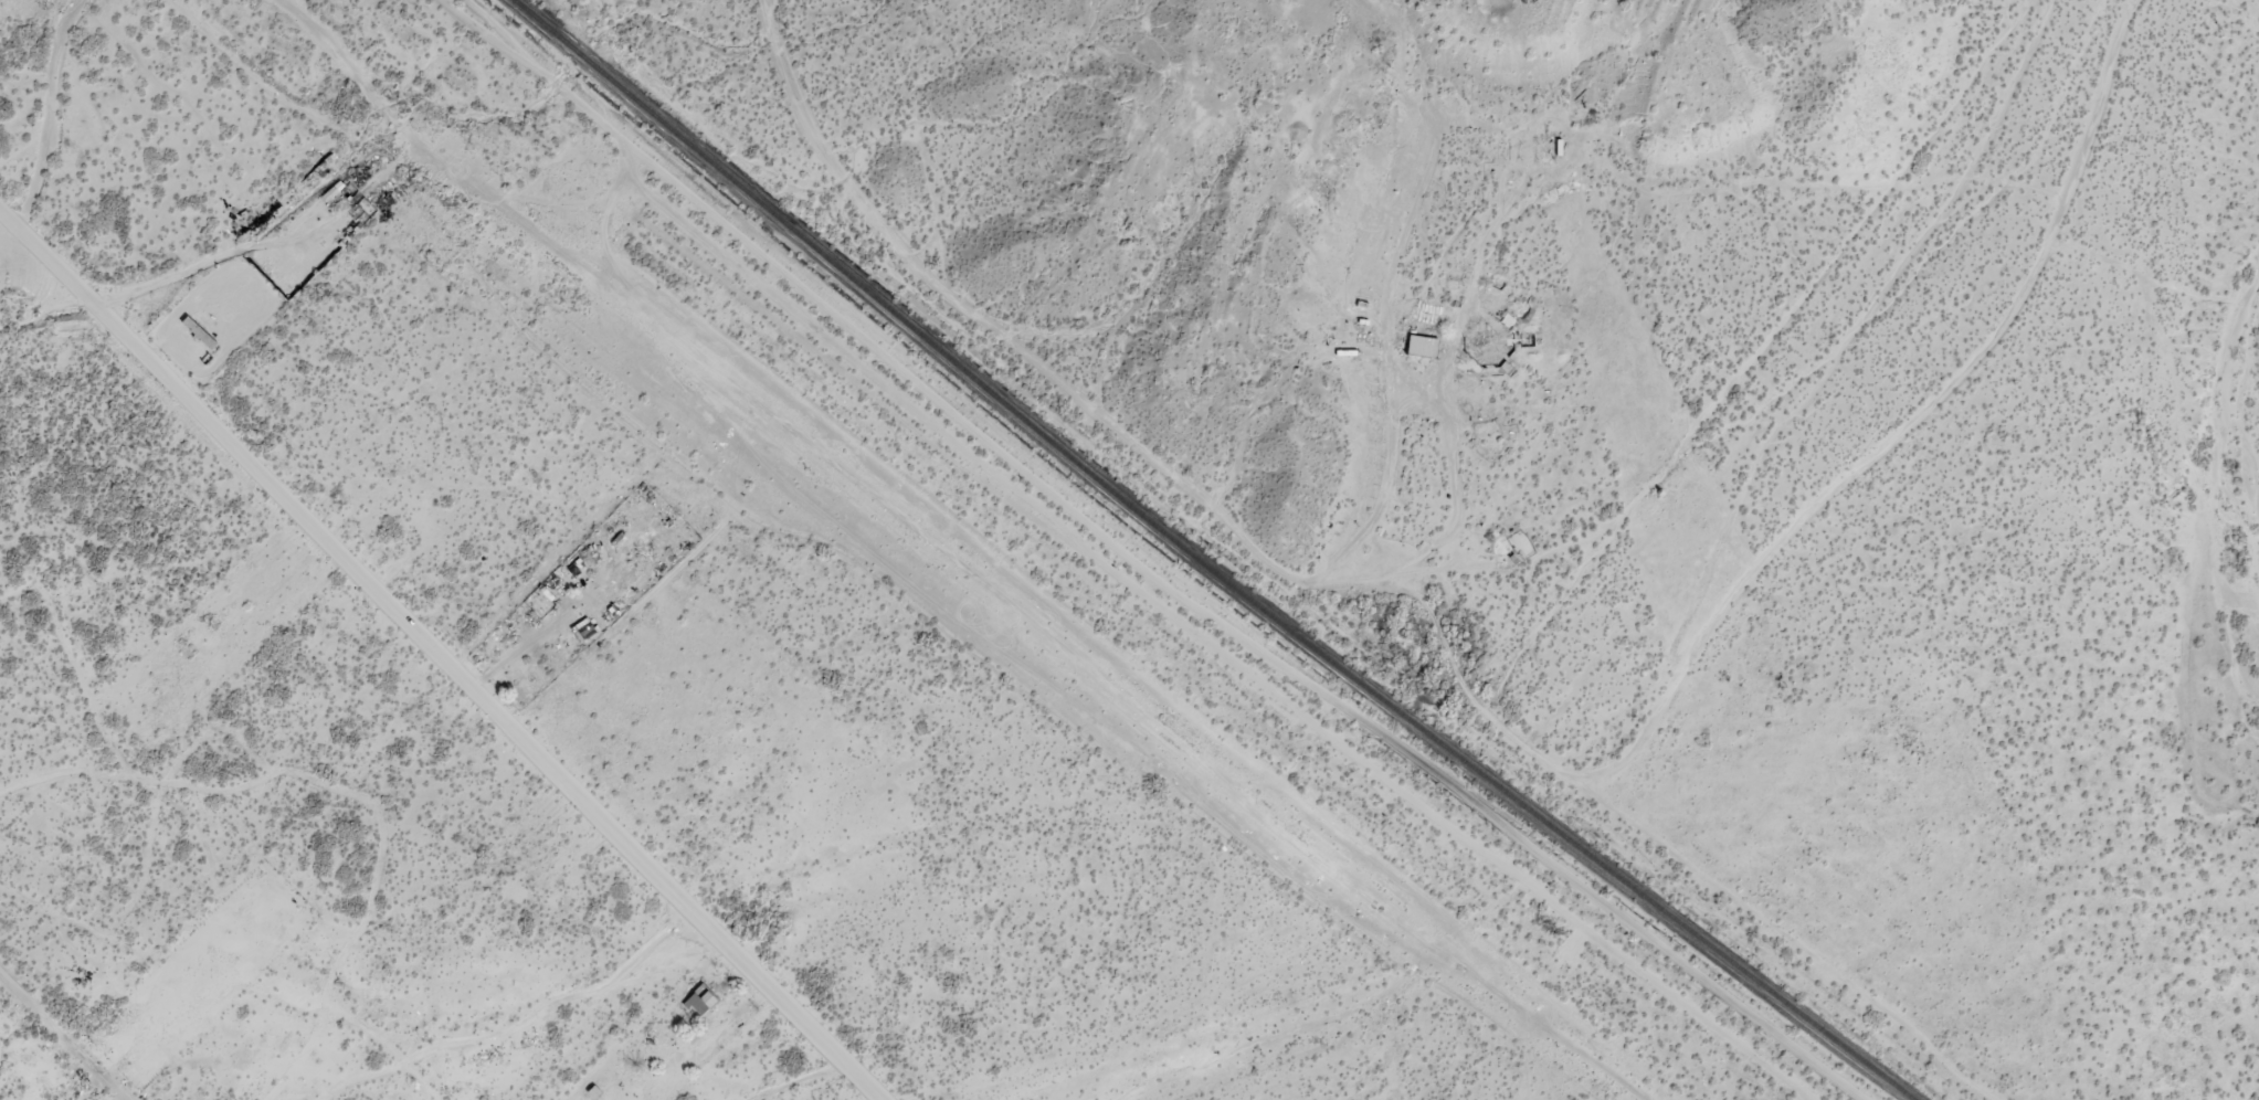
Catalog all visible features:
road: (403, 138)
building: (199, 331)
building: (1424, 342)
railway: (1059, 550)
railway: (1200, 562)
road: (434, 657)
airport runway: (1111, 687)
building: (701, 996)
airport runway: (1295, 1037)

